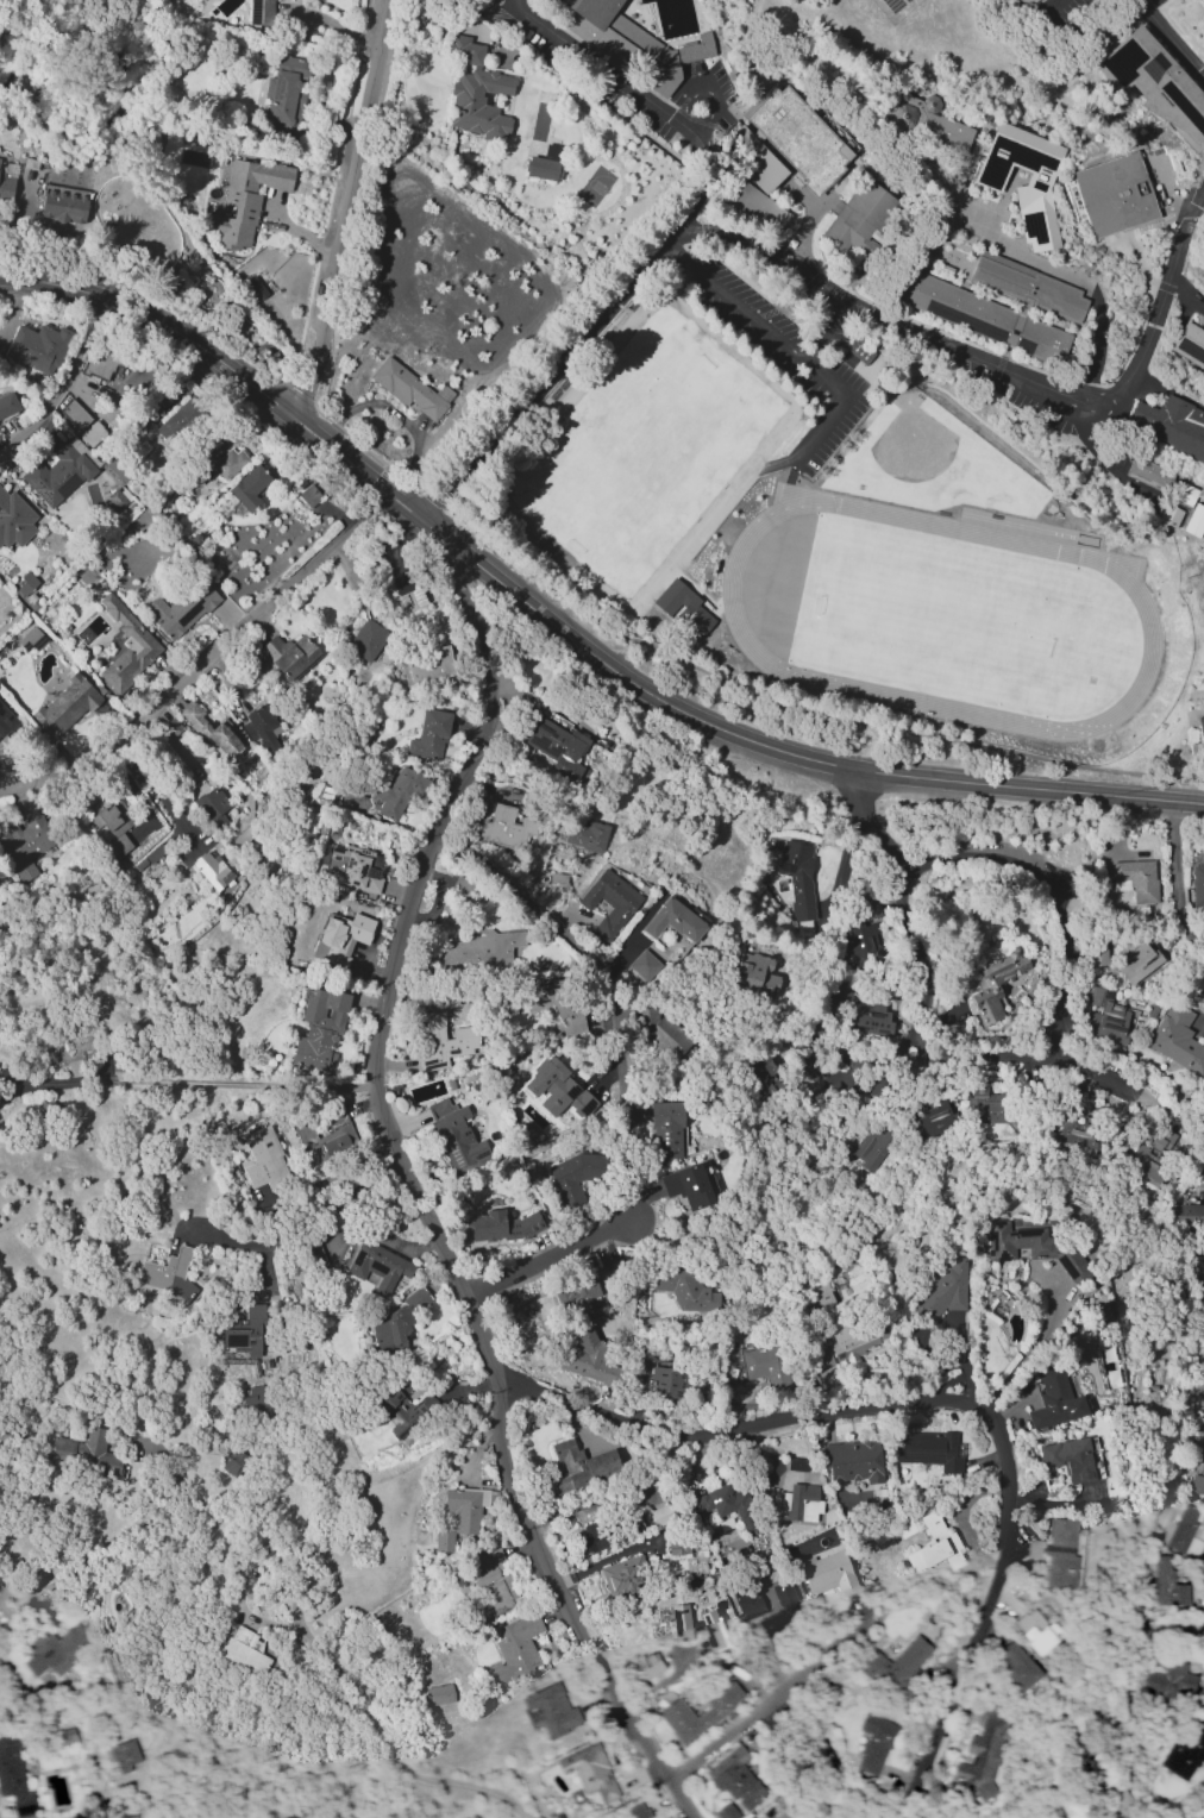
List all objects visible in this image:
building: (1028, 1)
road: (1054, 1)
road: (1178, 7)
road: (642, 19)
road: (1169, 39)
building: (628, 43)
building: (696, 49)
road: (958, 75)
building: (1154, 82)
road: (713, 90)
building: (286, 92)
building: (476, 93)
road: (645, 96)
building: (924, 119)
building: (802, 136)
building: (752, 156)
road: (859, 158)
building: (545, 163)
road: (1166, 175)
building: (6, 181)
building: (1034, 184)
road: (1076, 184)
building: (1114, 192)
building: (245, 200)
building: (62, 203)
road: (1005, 203)
building: (758, 206)
road: (345, 209)
road: (1185, 213)
road: (1165, 218)
building: (860, 219)
road: (892, 221)
road: (914, 237)
road: (890, 246)
road: (904, 256)
road: (813, 278)
building: (1028, 284)
road: (1159, 286)
building: (982, 314)
road: (760, 325)
road: (904, 327)
road: (233, 341)
building: (1189, 343)
road: (1096, 345)
building: (37, 347)
building: (861, 350)
parking lot: (782, 356)
road: (997, 366)
building: (101, 368)
road: (1037, 369)
road: (996, 372)
road: (547, 374)
road: (63, 383)
building: (410, 389)
building: (7, 406)
road: (839, 407)
building: (75, 414)
building: (188, 424)
building: (1171, 424)
building: (93, 434)
park: (647, 451)
road: (1103, 459)
building: (227, 462)
park: (930, 462)
building: (1148, 470)
building: (58, 474)
road: (790, 477)
building: (249, 488)
building: (308, 495)
building: (114, 500)
building: (17, 518)
building: (1194, 521)
track: (957, 529)
building: (412, 600)
building: (182, 608)
building: (683, 609)
park: (949, 614)
road: (563, 632)
building: (30, 639)
building: (366, 640)
building: (126, 646)
building: (288, 654)
road: (205, 662)
building: (428, 665)
track: (918, 701)
road: (794, 702)
building: (65, 707)
building: (5, 719)
building: (259, 725)
building: (211, 729)
building: (429, 735)
building: (554, 739)
building: (1199, 741)
road: (157, 791)
building: (400, 792)
building: (213, 805)
building: (112, 827)
building: (507, 827)
building: (582, 832)
building: (25, 845)
building: (350, 866)
building: (211, 870)
building: (797, 878)
building: (1135, 879)
road: (1043, 880)
road: (1174, 883)
building: (1197, 885)
road: (910, 897)
building: (609, 902)
building: (673, 921)
building: (865, 936)
building: (340, 938)
building: (479, 949)
building: (1135, 959)
road: (592, 960)
building: (644, 965)
building: (755, 976)
building: (996, 984)
building: (840, 995)
building: (554, 1005)
building: (1105, 1016)
building: (871, 1018)
building: (319, 1029)
building: (664, 1033)
road: (1028, 1039)
building: (1177, 1039)
building: (445, 1042)
road: (1054, 1042)
road: (916, 1047)
road: (899, 1048)
road: (848, 1055)
road: (1012, 1057)
building: (808, 1065)
building: (763, 1079)
road: (186, 1082)
building: (558, 1090)
building: (987, 1102)
road: (1160, 1111)
building: (935, 1120)
building: (666, 1129)
building: (456, 1135)
building: (1074, 1136)
road: (1197, 1137)
building: (326, 1139)
building: (865, 1148)
building: (1149, 1156)
building: (264, 1160)
building: (572, 1176)
building: (686, 1185)
road: (415, 1197)
building: (1185, 1215)
building: (502, 1225)
road: (291, 1236)
building: (1033, 1247)
road: (545, 1258)
building: (1200, 1259)
building: (377, 1266)
building: (168, 1274)
building: (1203, 1284)
building: (686, 1287)
building: (943, 1291)
building: (578, 1296)
building: (829, 1302)
building: (395, 1324)
building: (245, 1331)
building: (852, 1340)
building: (587, 1359)
building: (758, 1360)
building: (665, 1381)
building: (1054, 1399)
building: (255, 1400)
road: (947, 1404)
building: (402, 1408)
building: (927, 1450)
building: (86, 1453)
building: (1068, 1457)
building: (853, 1462)
building: (579, 1466)
building: (1198, 1478)
building: (801, 1503)
building: (725, 1504)
building: (458, 1516)
building: (1181, 1528)
road: (130, 1537)
building: (589, 1540)
building: (677, 1544)
building: (935, 1546)
building: (1056, 1554)
building: (828, 1573)
building: (620, 1575)
building: (491, 1585)
building: (1165, 1585)
building: (747, 1603)
building: (783, 1609)
building: (695, 1625)
building: (1036, 1631)
building: (243, 1649)
building: (54, 1650)
building: (514, 1651)
building: (648, 1665)
building: (896, 1666)
building: (1016, 1667)
building: (1171, 1681)
building: (438, 1694)
road: (766, 1700)
road: (364, 1707)
building: (552, 1709)
building: (675, 1711)
building: (872, 1744)
building: (1184, 1753)
building: (983, 1754)
building: (123, 1755)
building: (589, 1772)
building: (13, 1776)
building: (735, 1779)
road: (483, 1791)
building: (638, 1811)
building: (726, 1812)
road: (1199, 1814)
building: (294, 1817)

